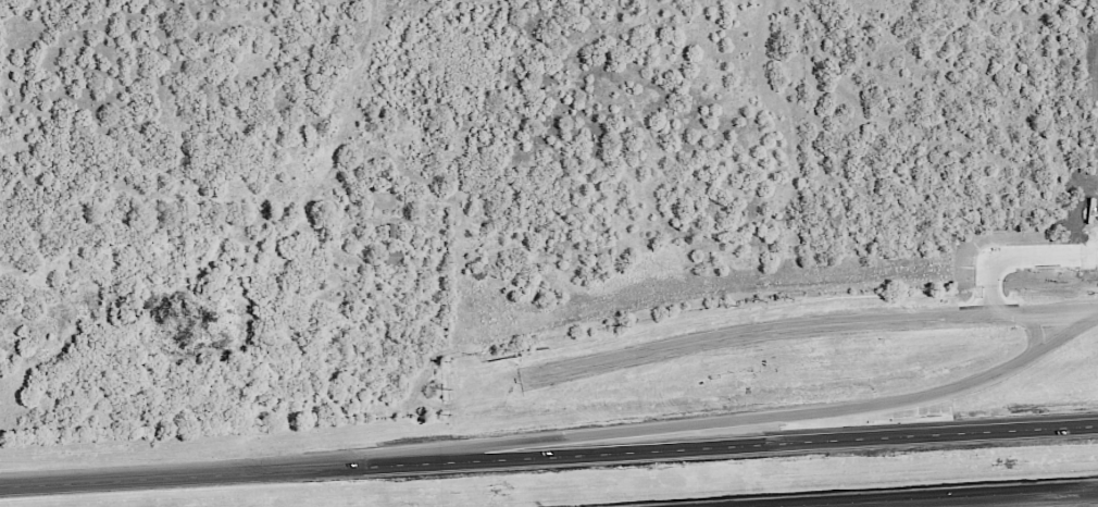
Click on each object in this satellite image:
building: (391, 228)
building: (392, 255)
road: (1019, 256)
road: (807, 326)
road: (1034, 335)
road: (656, 432)
road: (548, 459)
road: (981, 498)

